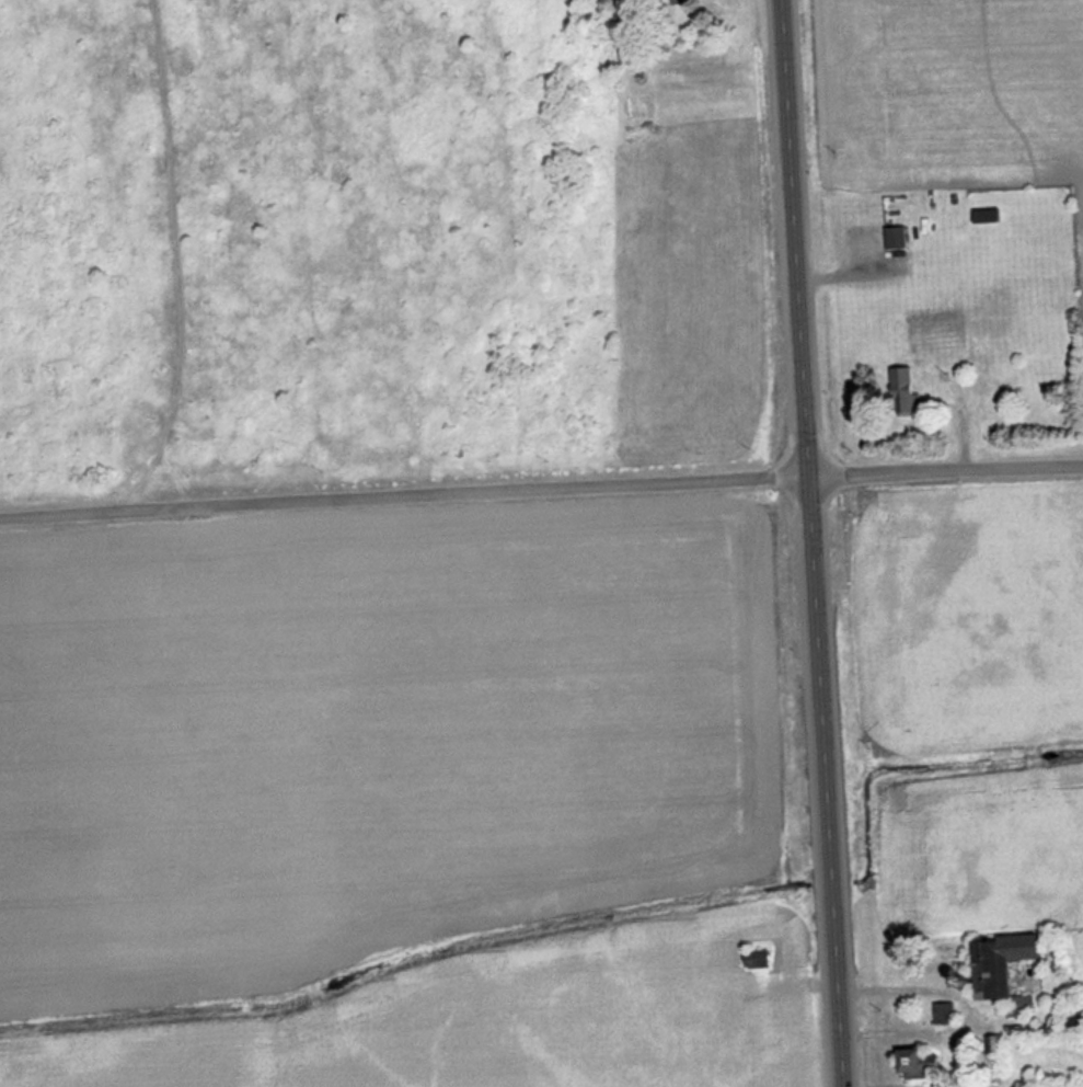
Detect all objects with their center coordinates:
building: (689, 2)
building: (991, 217)
building: (900, 239)
building: (907, 387)
road: (946, 466)
road: (404, 493)
road: (813, 542)
building: (763, 959)
building: (1014, 971)
building: (1079, 1014)
building: (930, 1064)

